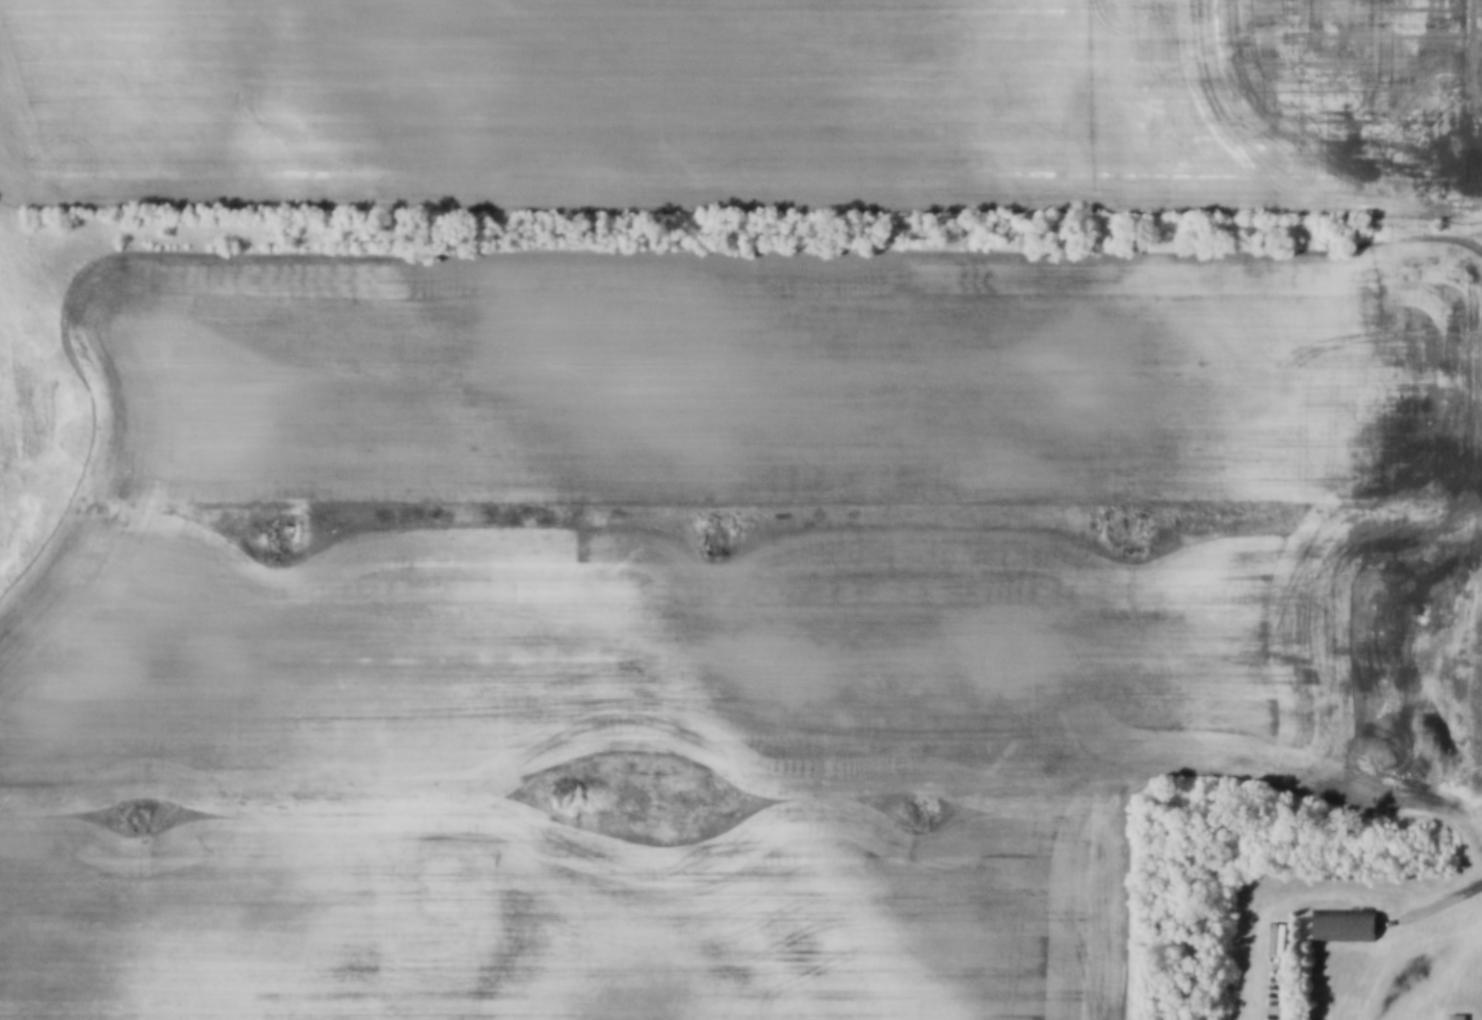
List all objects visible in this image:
road: (1432, 904)
building: (1344, 929)
building: (1457, 1018)

